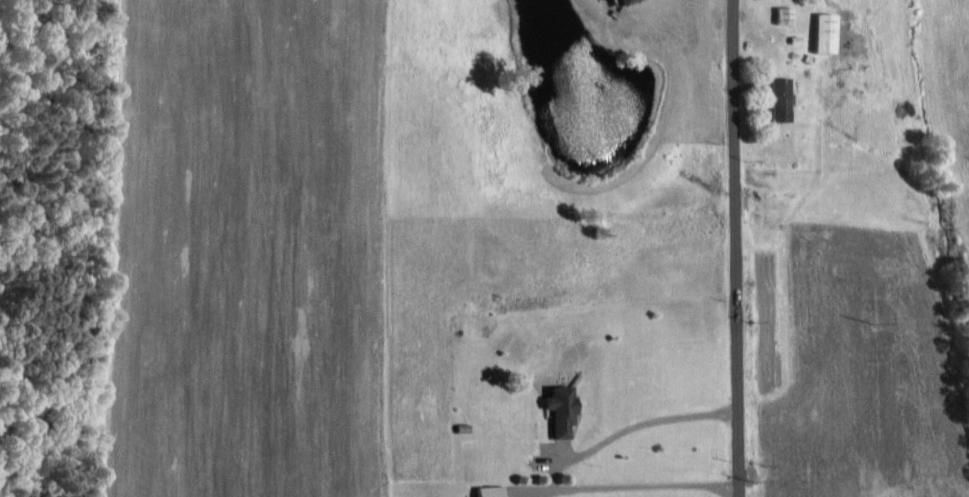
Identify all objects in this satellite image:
building: (622, 1)
building: (823, 32)
building: (777, 99)
road: (732, 248)
building: (559, 409)
road: (646, 424)
building: (488, 491)

